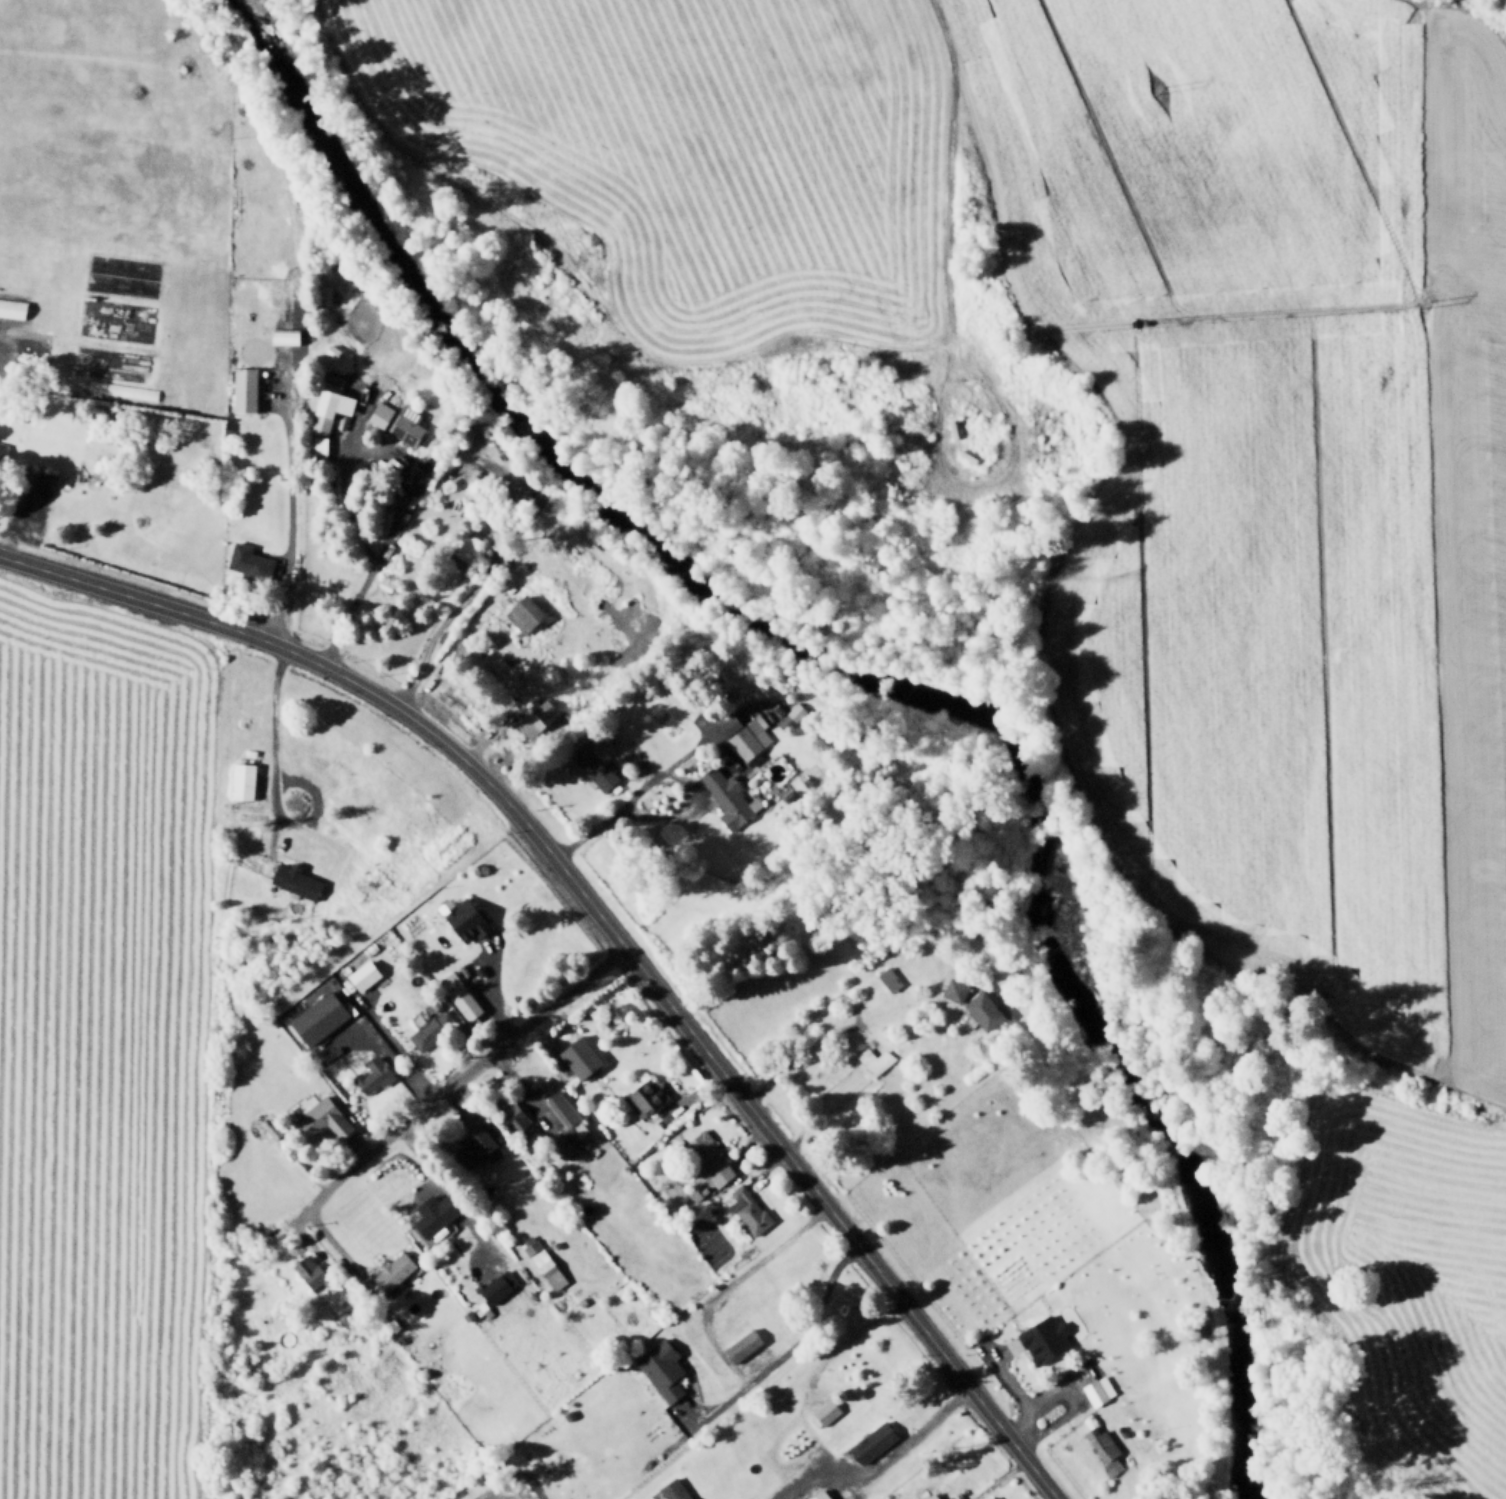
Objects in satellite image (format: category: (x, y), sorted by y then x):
crop: (680, 153)
road: (950, 156)
building: (322, 295)
building: (9, 311)
building: (289, 331)
building: (327, 352)
building: (427, 363)
building: (353, 371)
building: (247, 384)
building: (123, 389)
building: (299, 394)
building: (332, 396)
building: (374, 415)
road: (353, 416)
building: (322, 420)
building: (405, 427)
building: (319, 443)
building: (0, 449)
building: (356, 463)
building: (416, 465)
building: (486, 477)
crop: (1274, 483)
road: (395, 485)
road: (984, 490)
building: (404, 493)
building: (476, 494)
building: (390, 534)
building: (467, 547)
building: (243, 562)
road: (478, 577)
building: (370, 586)
road: (283, 611)
building: (521, 615)
river: (863, 677)
building: (542, 683)
building: (608, 706)
building: (794, 709)
building: (761, 716)
building: (531, 720)
building: (729, 724)
building: (748, 736)
building: (793, 752)
building: (626, 753)
road: (639, 754)
road: (669, 762)
building: (590, 764)
building: (231, 778)
building: (729, 797)
road: (693, 802)
building: (293, 876)
building: (461, 922)
road: (607, 923)
building: (361, 976)
building: (887, 980)
building: (879, 981)
building: (948, 991)
building: (459, 993)
building: (981, 1012)
building: (315, 1021)
building: (424, 1031)
building: (866, 1043)
crop: (98, 1051)
road: (798, 1052)
building: (580, 1054)
building: (867, 1061)
road: (458, 1075)
building: (367, 1077)
building: (643, 1101)
building: (562, 1106)
building: (511, 1113)
building: (320, 1122)
building: (272, 1128)
building: (563, 1140)
building: (474, 1145)
building: (708, 1155)
building: (703, 1188)
building: (706, 1201)
building: (747, 1207)
building: (711, 1209)
building: (429, 1214)
building: (533, 1247)
building: (305, 1270)
building: (391, 1272)
building: (551, 1272)
crop: (1413, 1277)
building: (490, 1289)
building: (582, 1298)
building: (467, 1314)
road: (812, 1318)
building: (392, 1322)
building: (399, 1337)
building: (998, 1337)
building: (738, 1339)
building: (1039, 1340)
building: (1006, 1349)
road: (808, 1383)
building: (1086, 1385)
building: (669, 1387)
building: (823, 1410)
building: (1122, 1431)
road: (904, 1438)
building: (871, 1439)
building: (1104, 1447)
road: (822, 1448)
building: (752, 1455)
road: (809, 1474)
building: (674, 1489)
building: (820, 1494)
building: (930, 1495)
crop: (601, 1497)
building: (992, 1497)
building: (985, 1498)

